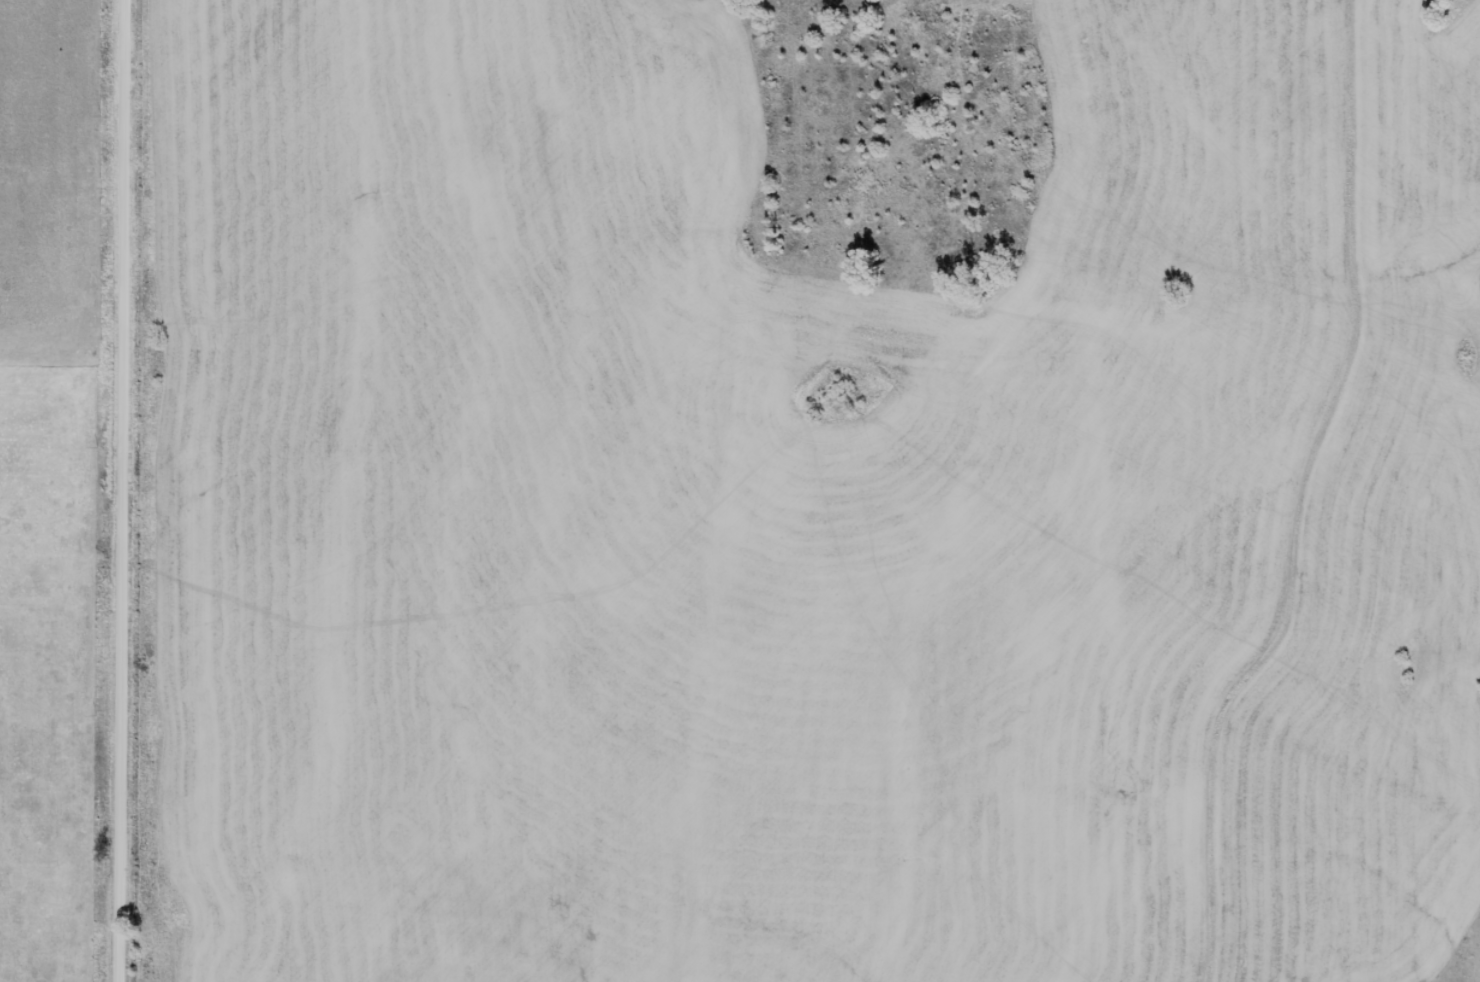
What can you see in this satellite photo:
road: (125, 491)

